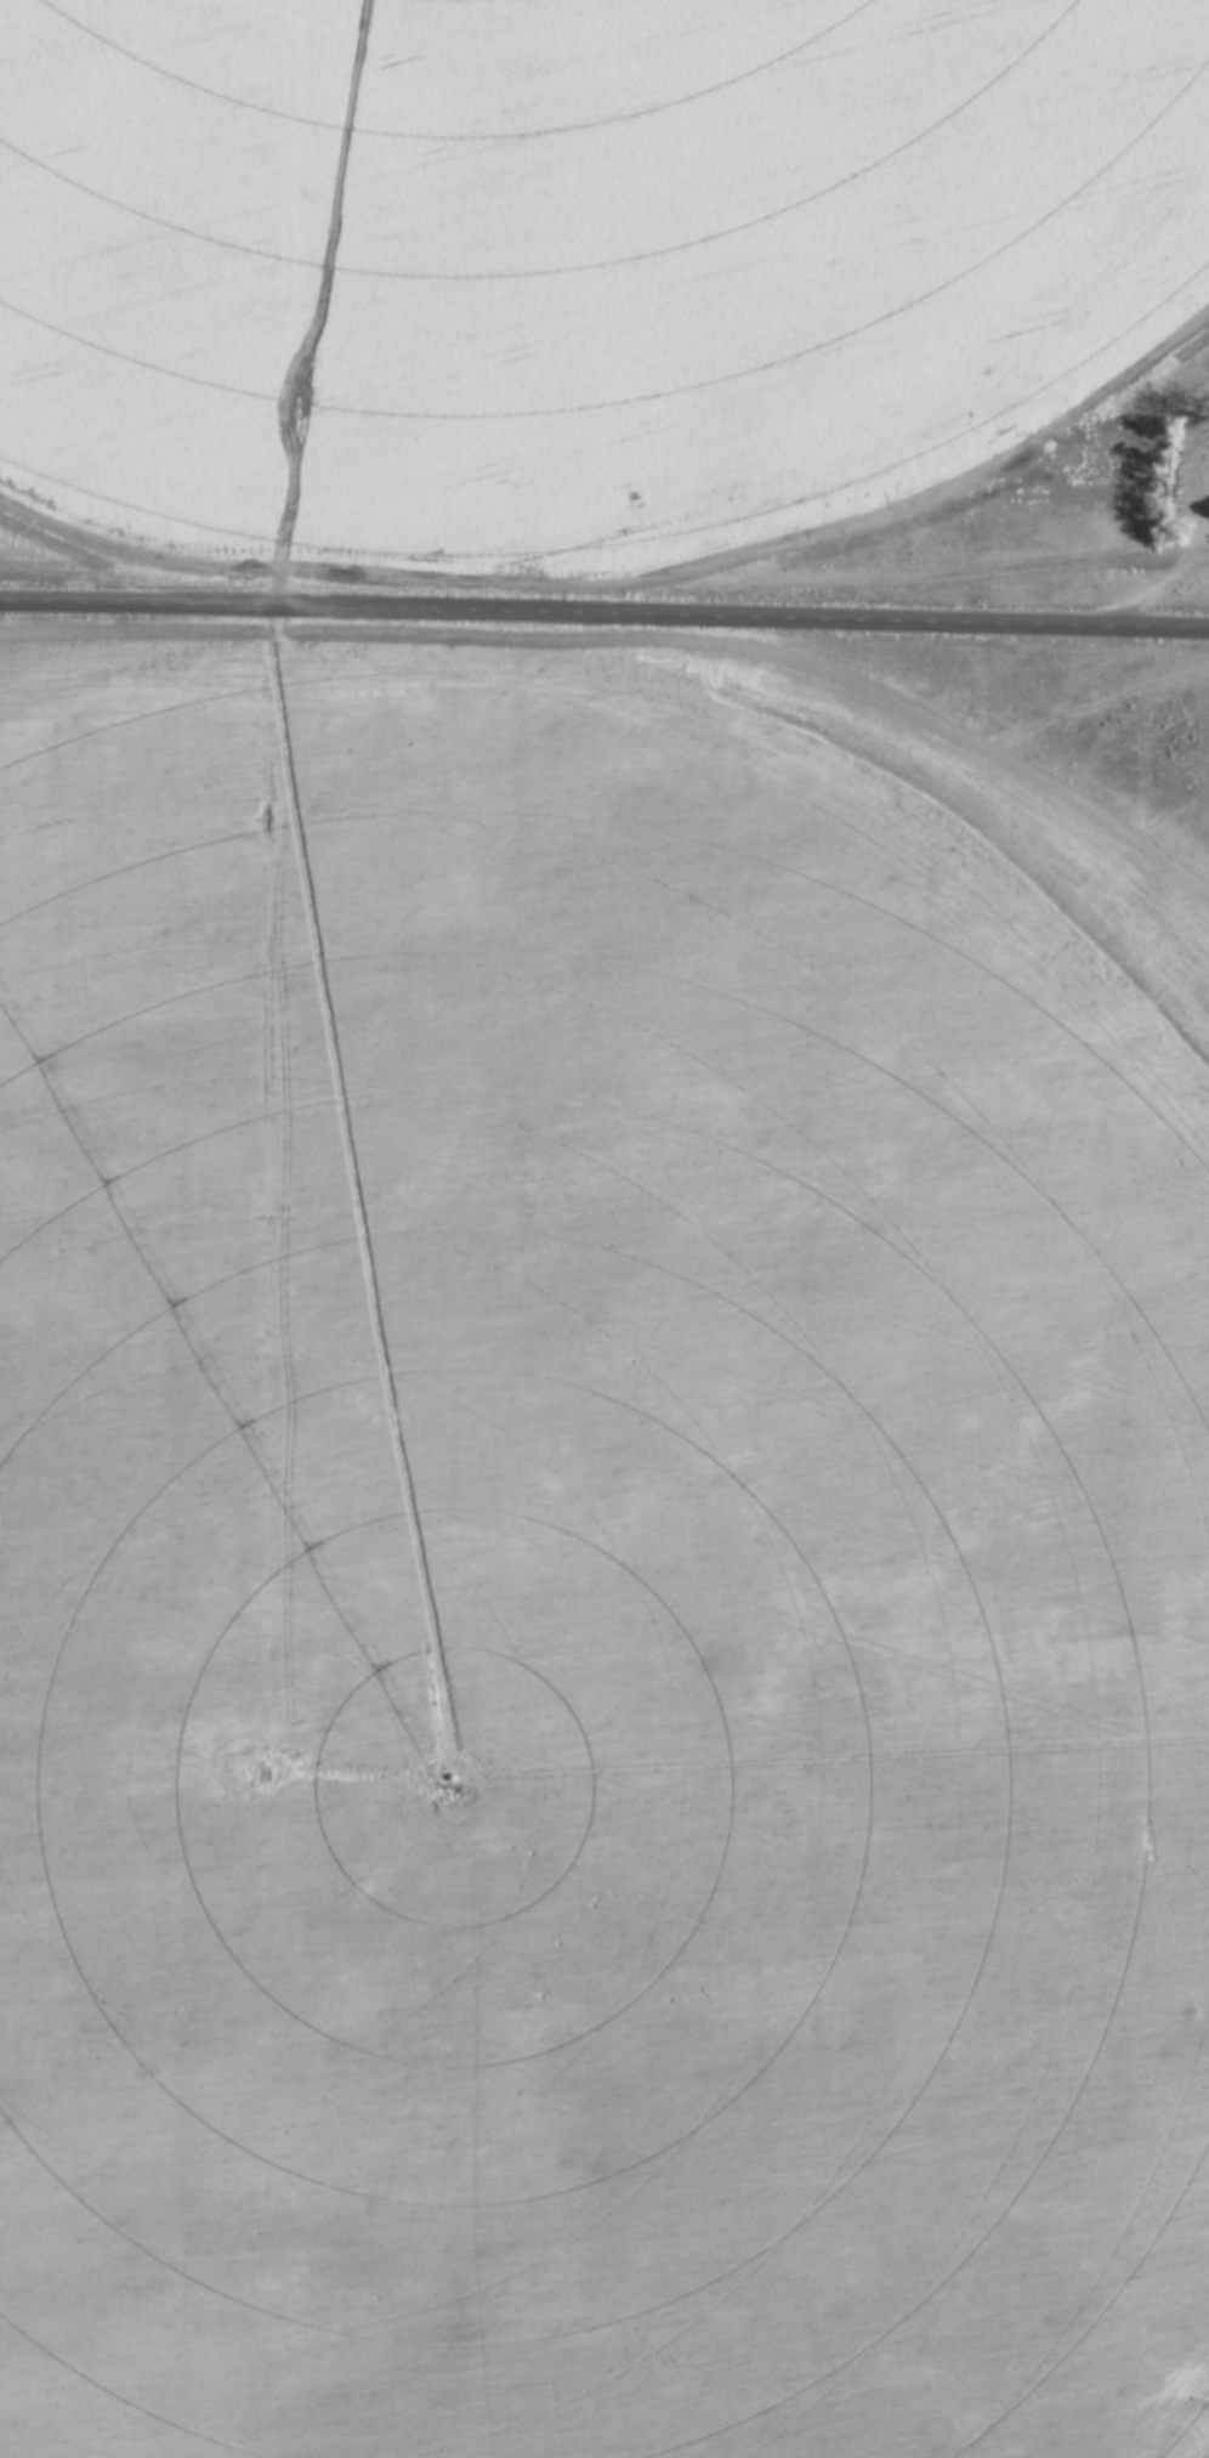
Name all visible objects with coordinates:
crop: (568, 284)
crop: (589, 1633)

